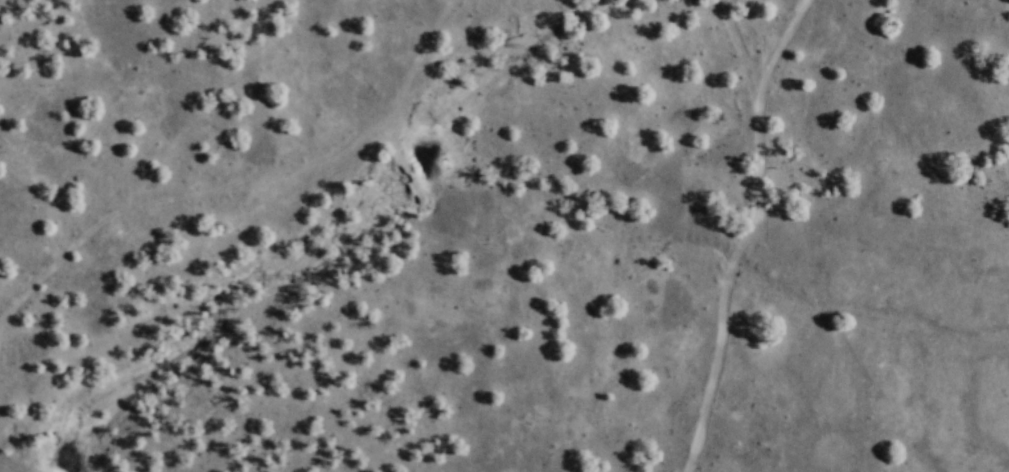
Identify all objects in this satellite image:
road: (746, 234)

